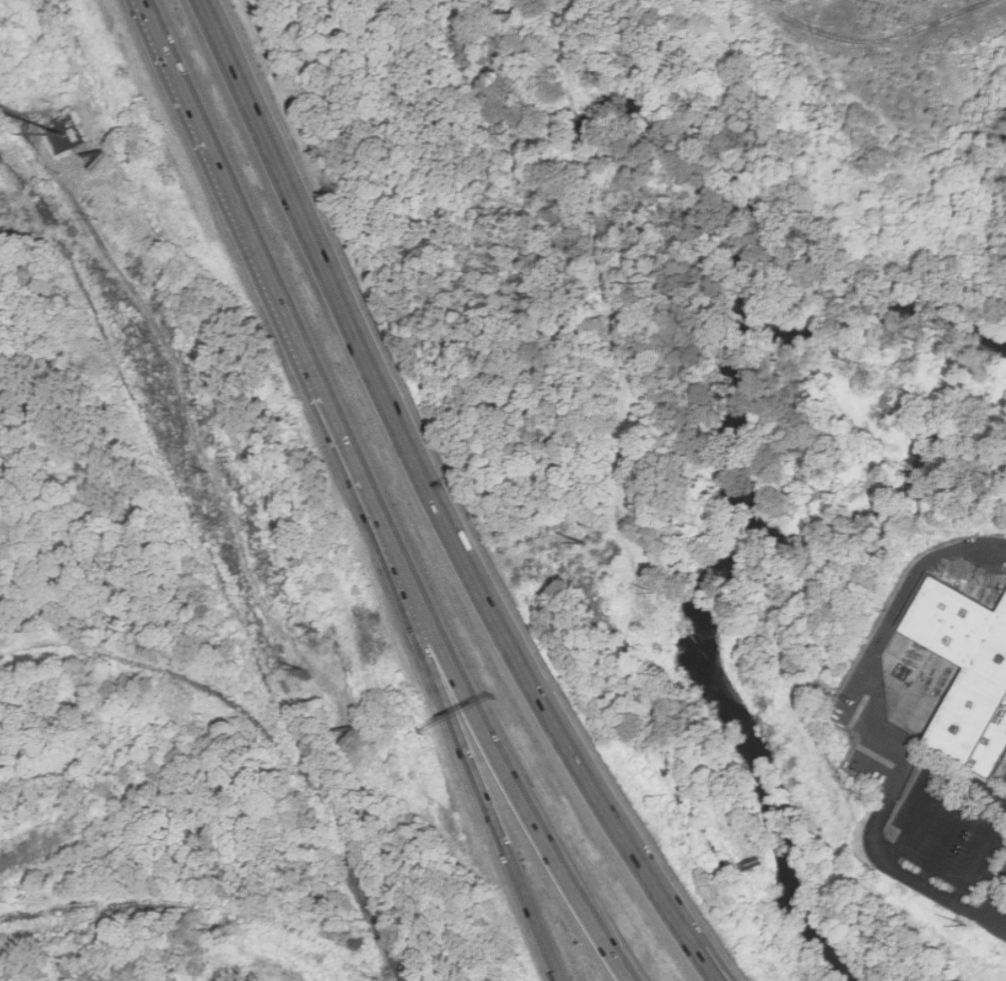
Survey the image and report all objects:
road: (874, 40)
road: (13, 115)
railway: (49, 208)
road: (268, 280)
river: (881, 310)
road: (415, 457)
railway: (178, 488)
river: (708, 650)
building: (964, 669)
railway: (266, 732)
road: (876, 732)
road: (474, 772)
road: (507, 773)
road: (915, 820)
road: (948, 838)
road: (979, 856)
road: (995, 899)
railway: (193, 904)
railway: (71, 911)
railway: (11, 919)
road: (995, 924)
road: (698, 938)
road: (689, 939)

